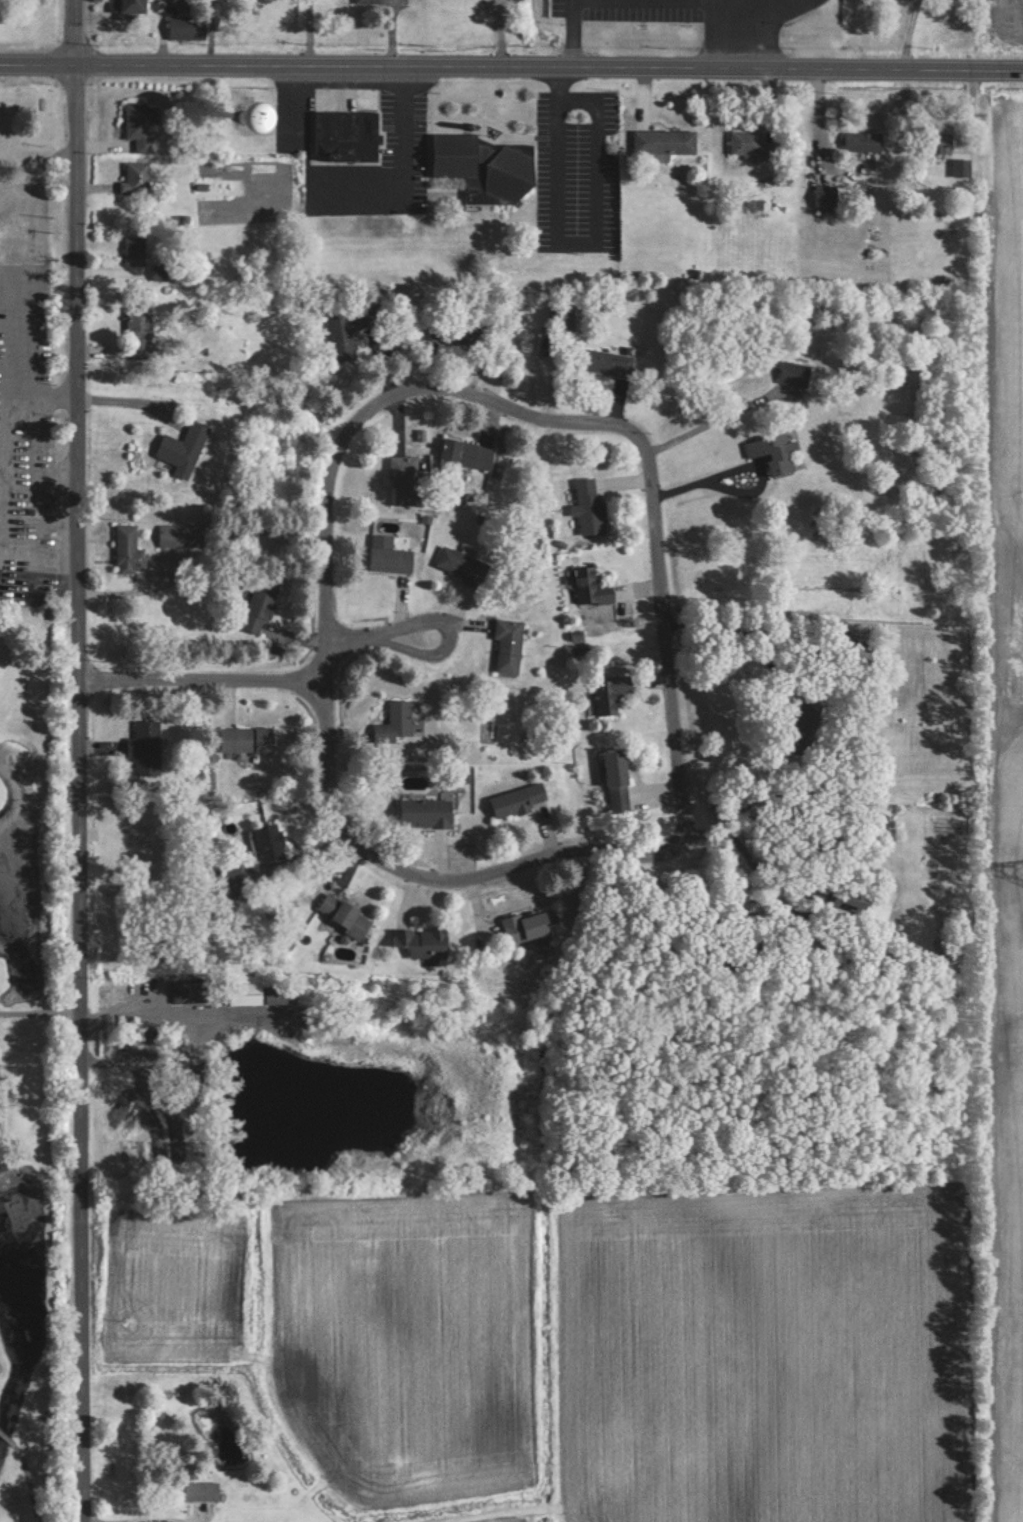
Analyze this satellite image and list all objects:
road: (702, 1)
road: (745, 2)
building: (135, 6)
building: (190, 26)
road: (312, 31)
road: (77, 32)
road: (575, 32)
road: (511, 64)
water tower: (247, 119)
building: (258, 120)
building: (143, 125)
building: (349, 135)
building: (667, 141)
building: (866, 141)
building: (945, 143)
building: (754, 144)
building: (487, 167)
building: (138, 178)
road: (358, 193)
building: (828, 197)
road: (579, 241)
building: (138, 256)
building: (162, 272)
building: (564, 319)
building: (141, 332)
building: (346, 334)
building: (608, 362)
building: (798, 374)
road: (370, 411)
road: (7, 443)
building: (184, 447)
building: (780, 453)
building: (469, 454)
road: (747, 466)
building: (406, 479)
parking lot: (9, 485)
building: (592, 507)
building: (131, 550)
building: (394, 558)
building: (465, 565)
building: (594, 587)
building: (262, 605)
road: (669, 638)
road: (380, 639)
building: (511, 646)
road: (809, 661)
road: (205, 682)
building: (609, 697)
building: (402, 718)
building: (807, 723)
building: (249, 738)
building: (149, 746)
building: (620, 779)
road: (82, 792)
building: (521, 798)
park: (33, 809)
building: (427, 811)
building: (269, 842)
road: (755, 861)
road: (442, 885)
building: (346, 915)
building: (528, 927)
building: (423, 941)
building: (191, 991)
building: (247, 994)
building: (282, 995)
road: (175, 1019)
building: (204, 1072)
building: (203, 1491)

